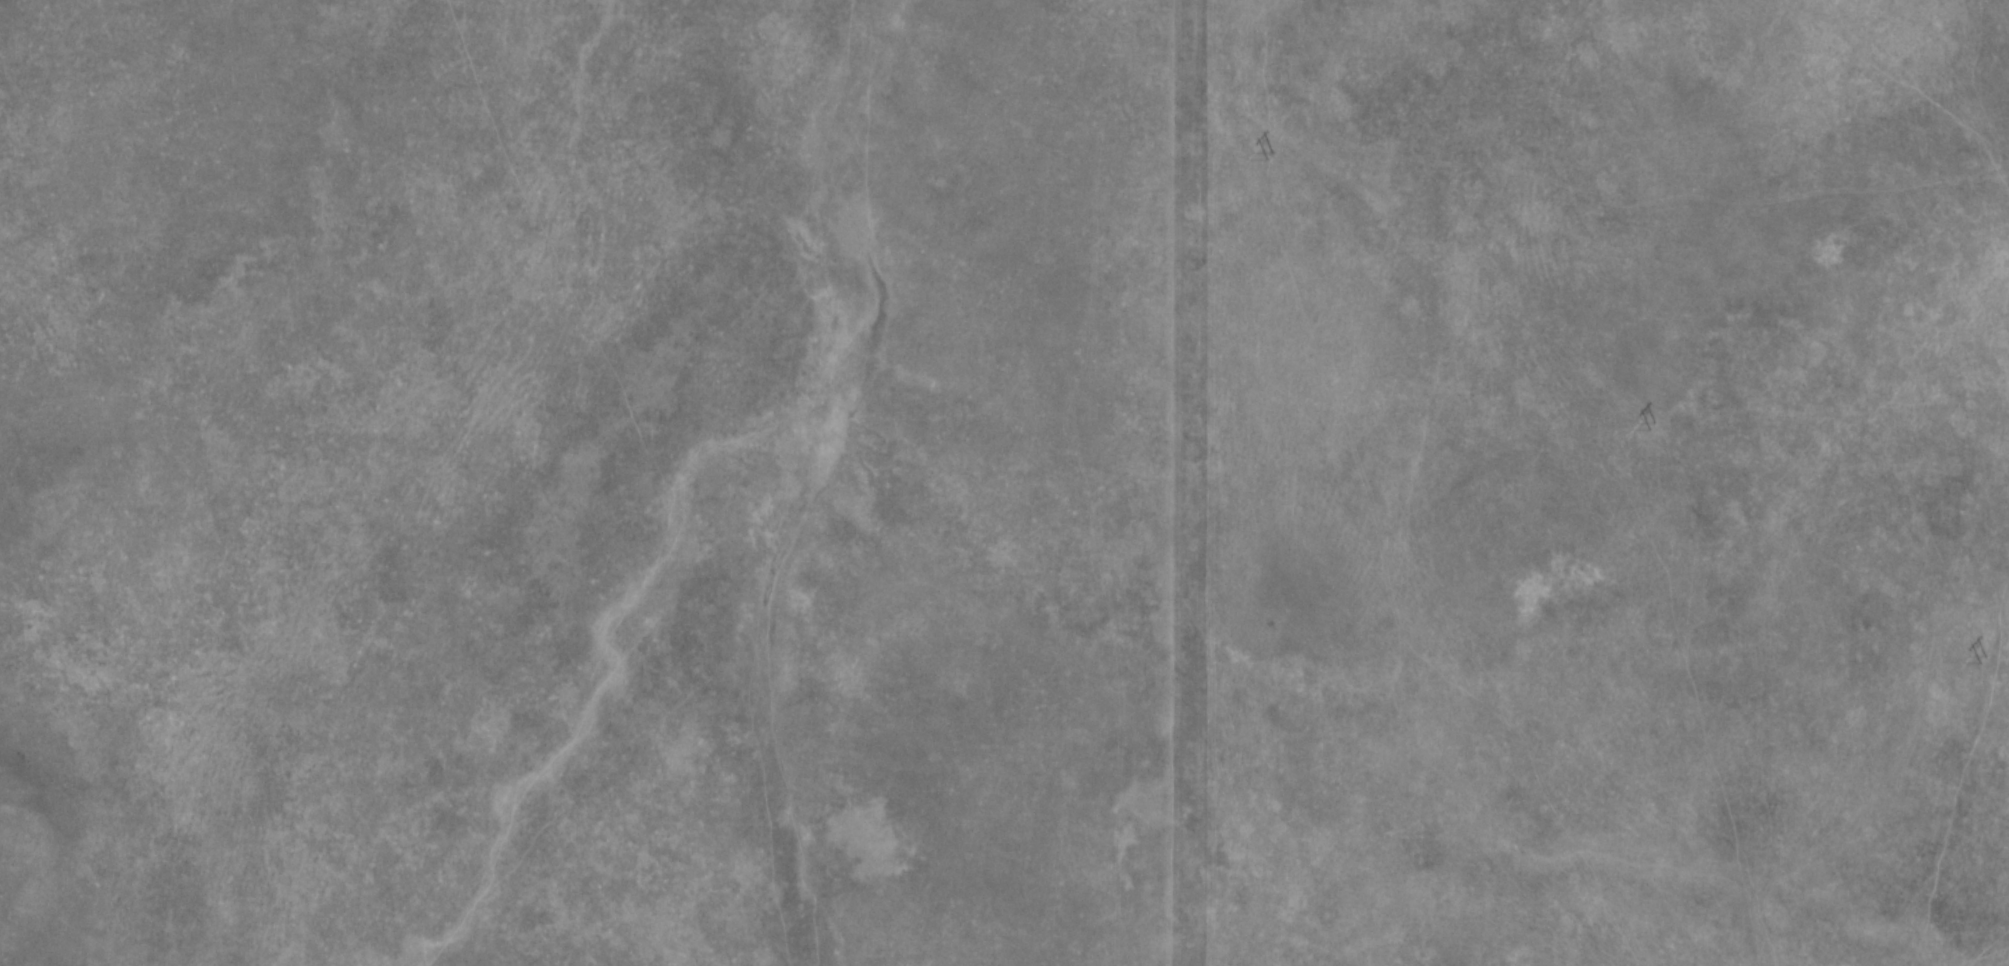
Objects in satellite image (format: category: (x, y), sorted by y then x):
power tower: (1266, 156)
power tower: (1649, 426)
power tower: (1980, 659)

